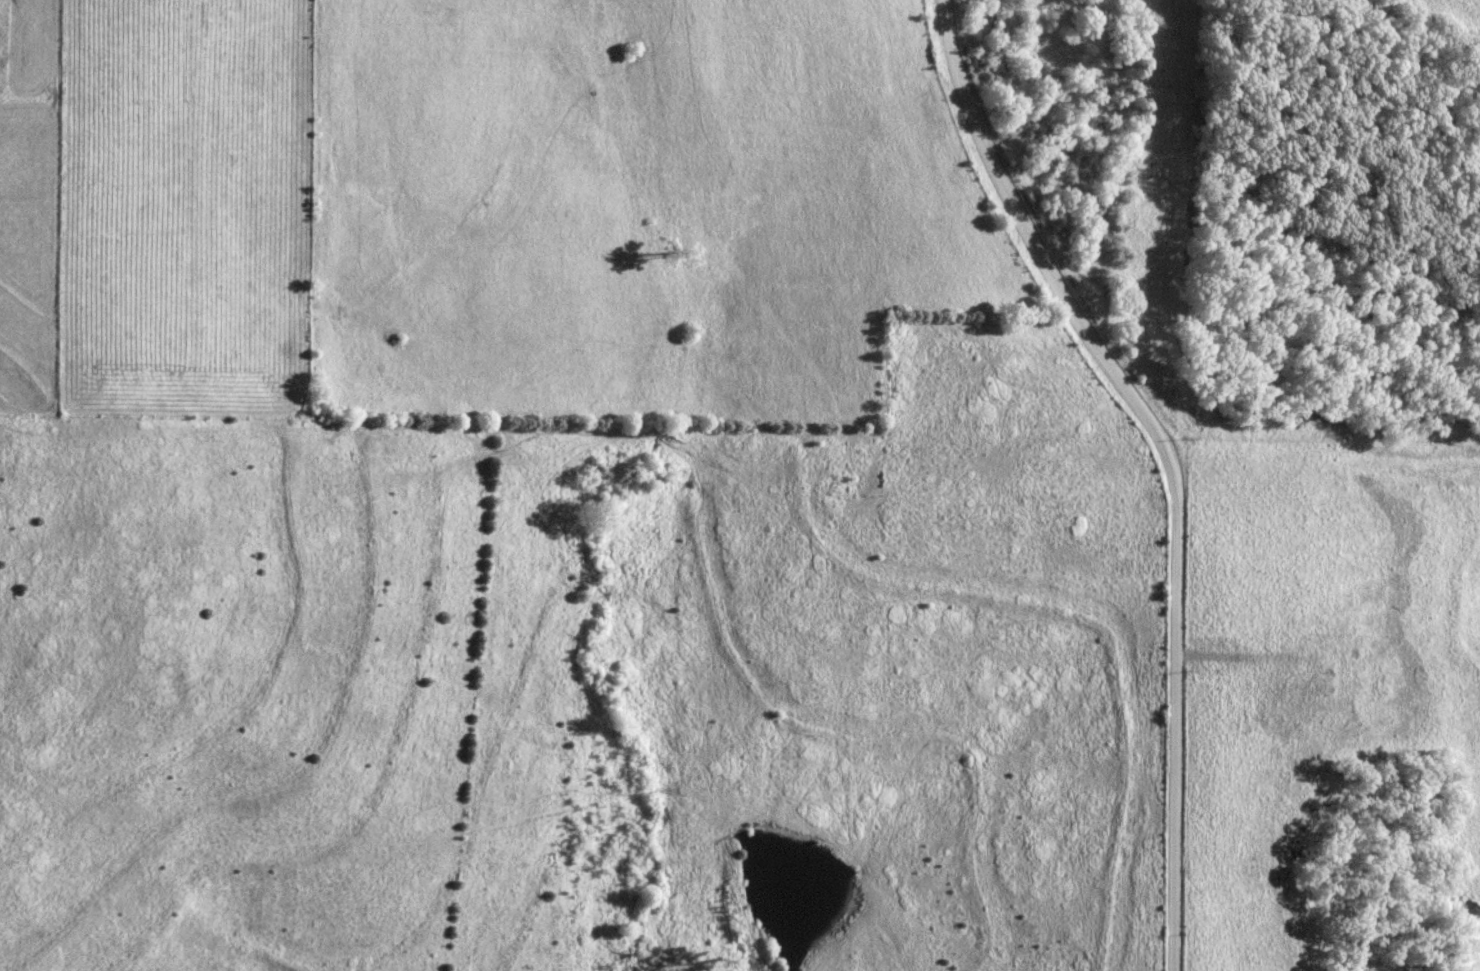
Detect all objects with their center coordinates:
road: (1162, 458)

